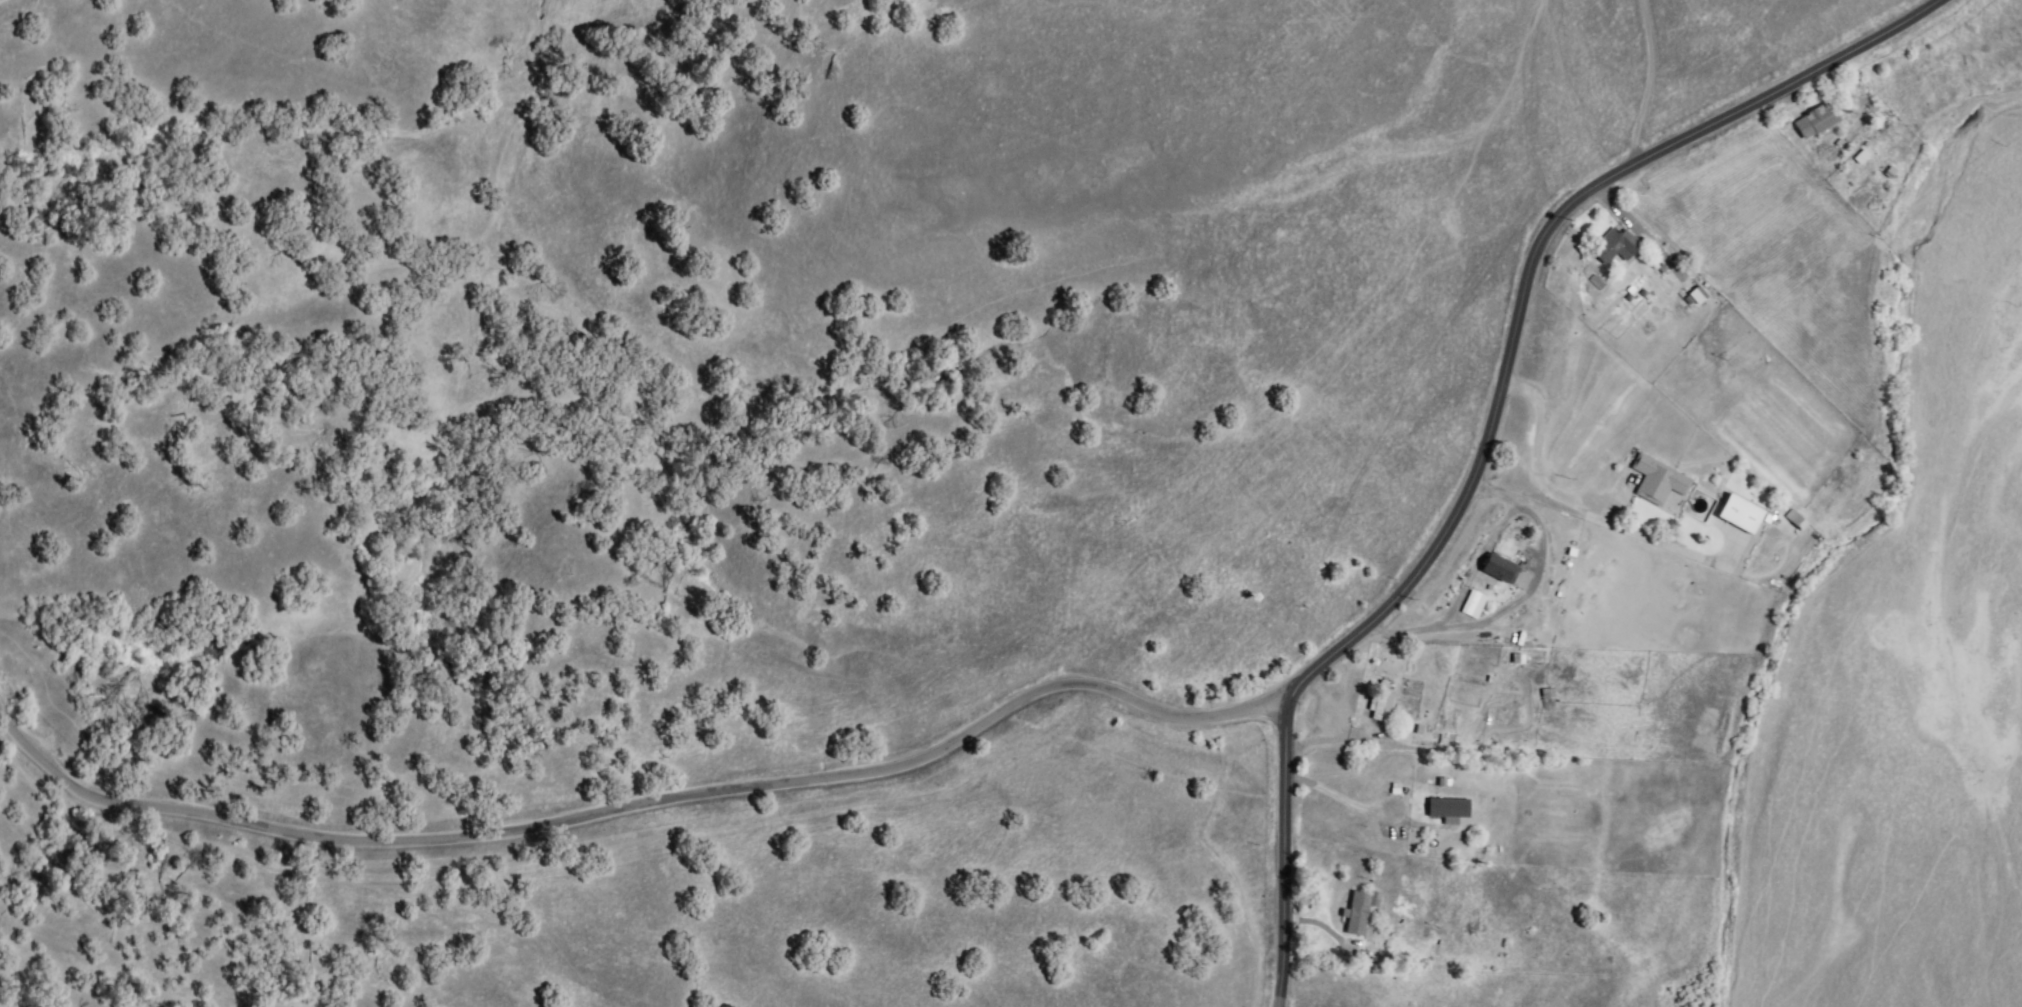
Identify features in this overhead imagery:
road: (1646, 84)
building: (1819, 121)
building: (1857, 157)
road: (1640, 236)
building: (1616, 246)
building: (1699, 295)
road: (1493, 421)
building: (1659, 480)
road: (1588, 507)
building: (1741, 515)
building: (1797, 519)
building: (1502, 568)
road: (1521, 599)
building: (1475, 605)
building: (1548, 700)
building: (1382, 701)
road: (1326, 706)
road: (1343, 737)
road: (1333, 797)
road: (639, 807)
building: (1451, 808)
building: (1360, 912)

